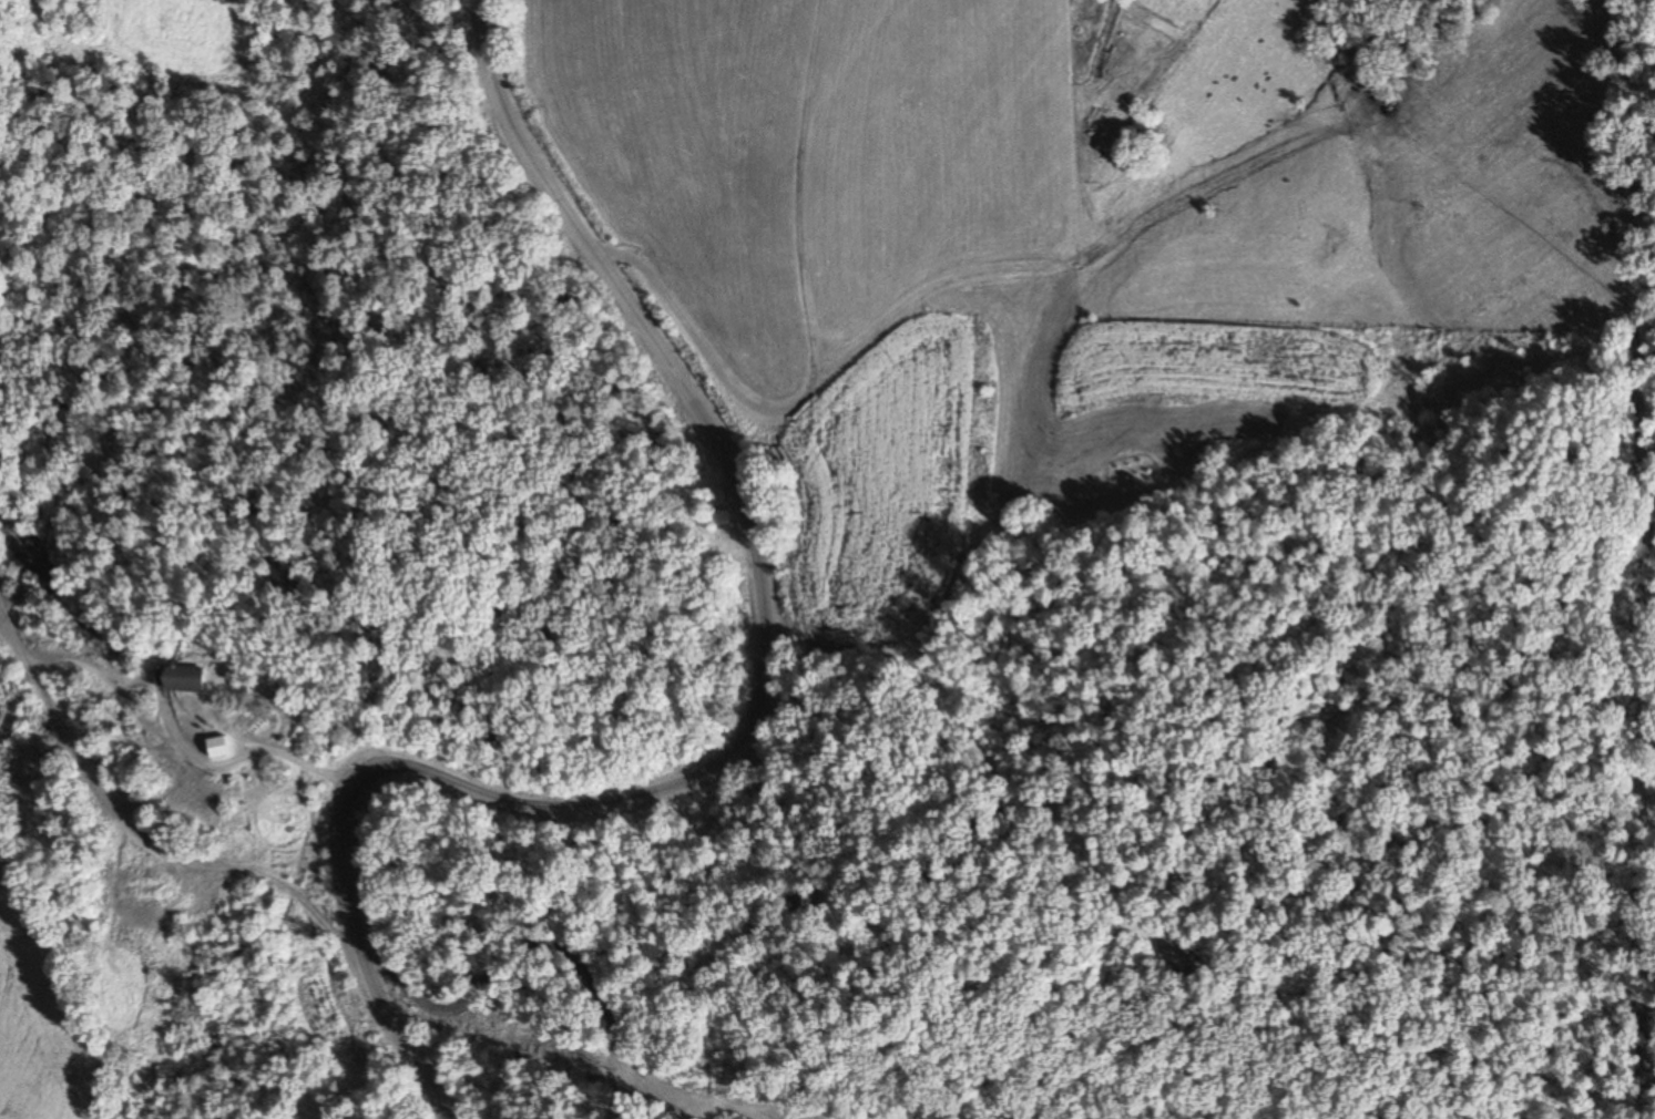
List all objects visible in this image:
road: (917, 299)
building: (182, 678)
road: (772, 701)
building: (215, 747)
road: (114, 813)

